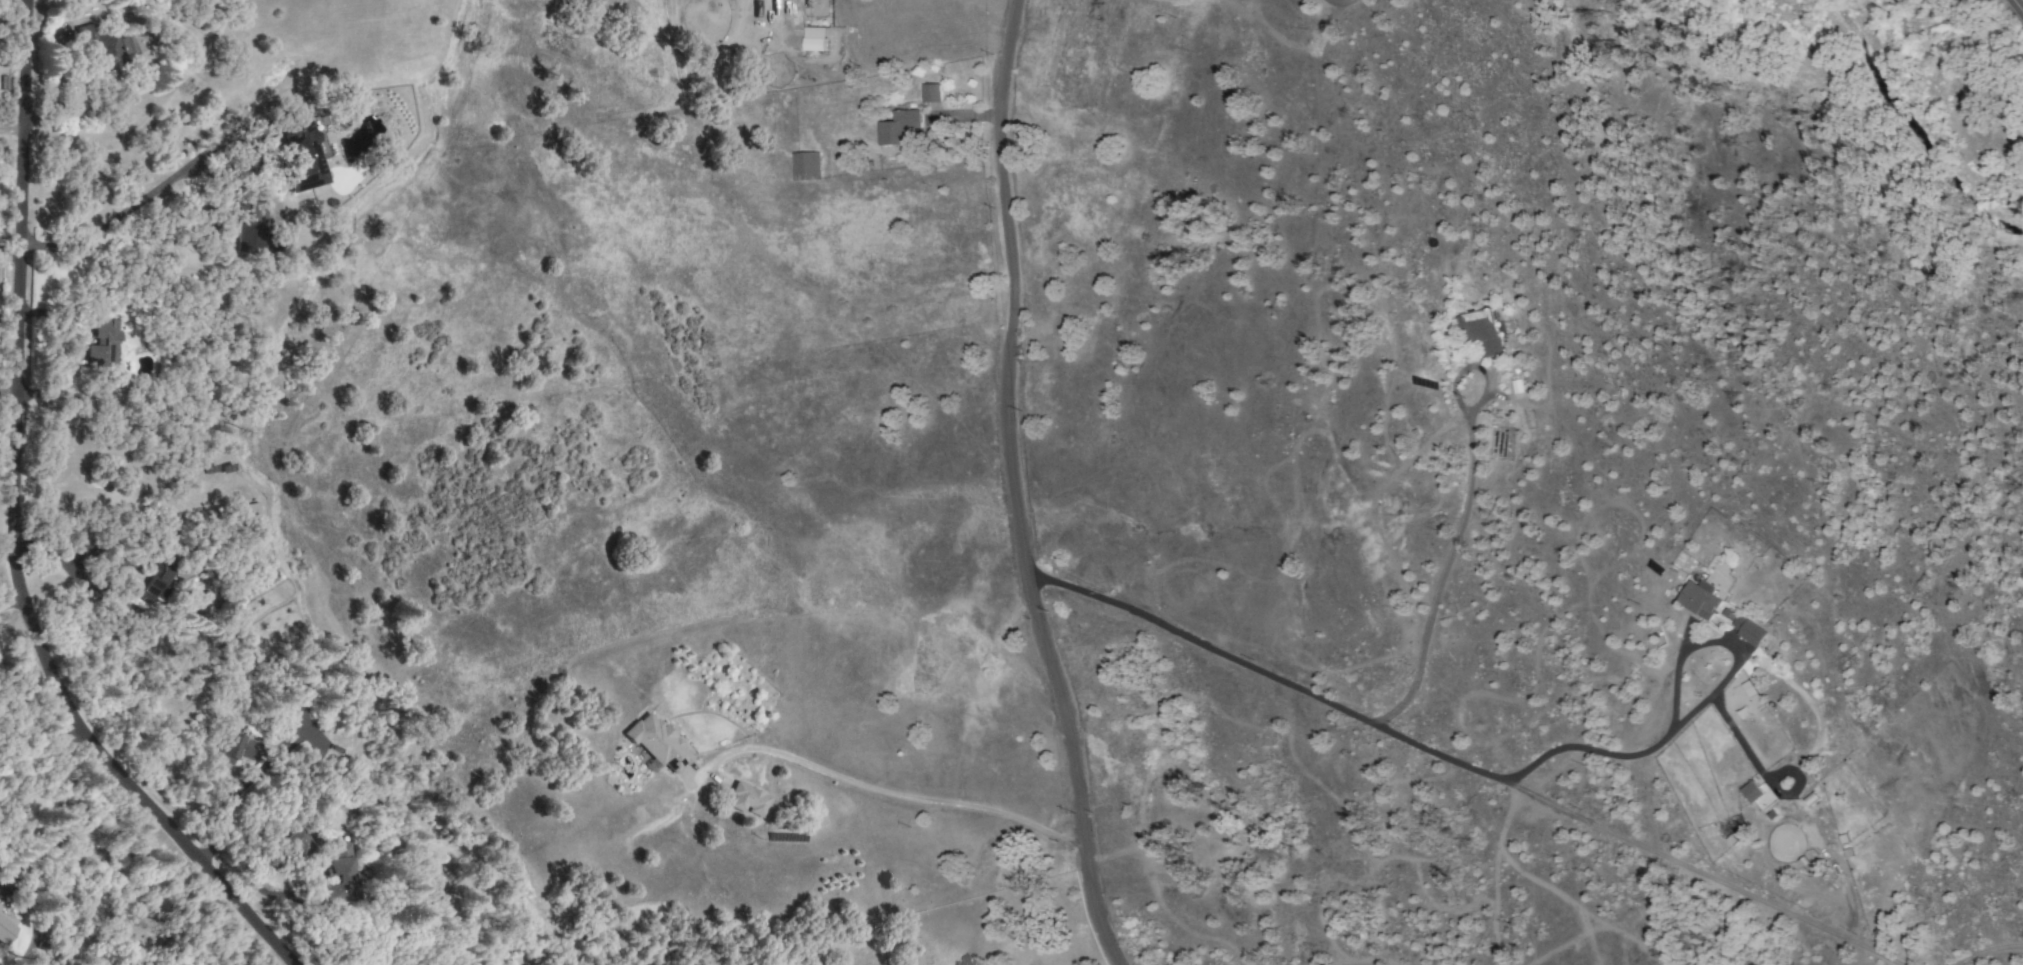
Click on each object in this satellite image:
road: (1338, 2)
road: (2017, 7)
building: (813, 44)
building: (103, 48)
building: (929, 93)
building: (897, 127)
road: (12, 129)
building: (299, 151)
building: (805, 166)
road: (130, 207)
building: (250, 228)
road: (9, 254)
building: (1482, 330)
building: (103, 344)
road: (7, 391)
road: (1016, 486)
building: (249, 515)
road: (10, 529)
road: (53, 553)
road: (1448, 554)
building: (156, 571)
building: (1698, 599)
road: (12, 600)
building: (1748, 630)
road: (1691, 714)
building: (657, 743)
road: (1462, 764)
road: (895, 793)
building: (1756, 794)
building: (747, 800)
building: (297, 842)
building: (342, 874)
building: (6, 928)
road: (1988, 951)

